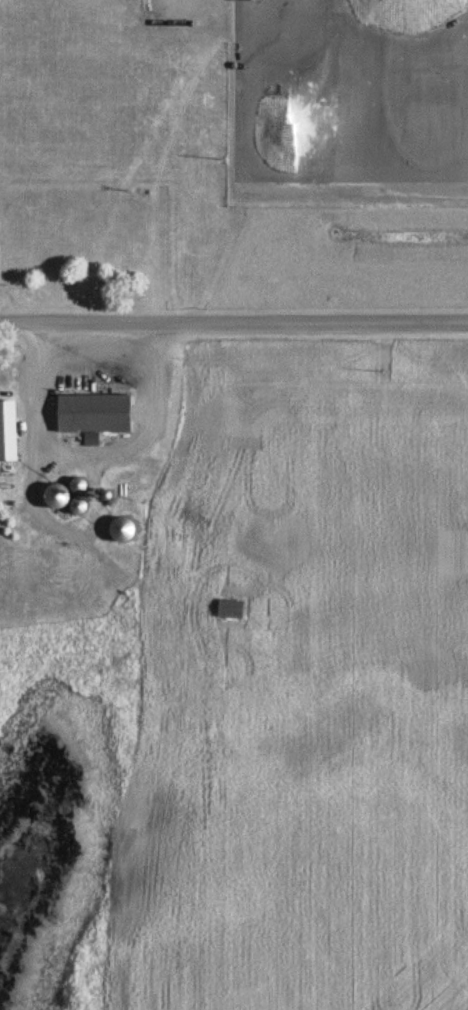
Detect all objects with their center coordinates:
building: (421, 163)
road: (234, 321)
building: (87, 413)
building: (6, 432)
road: (86, 454)
building: (74, 486)
building: (118, 529)
building: (225, 610)

